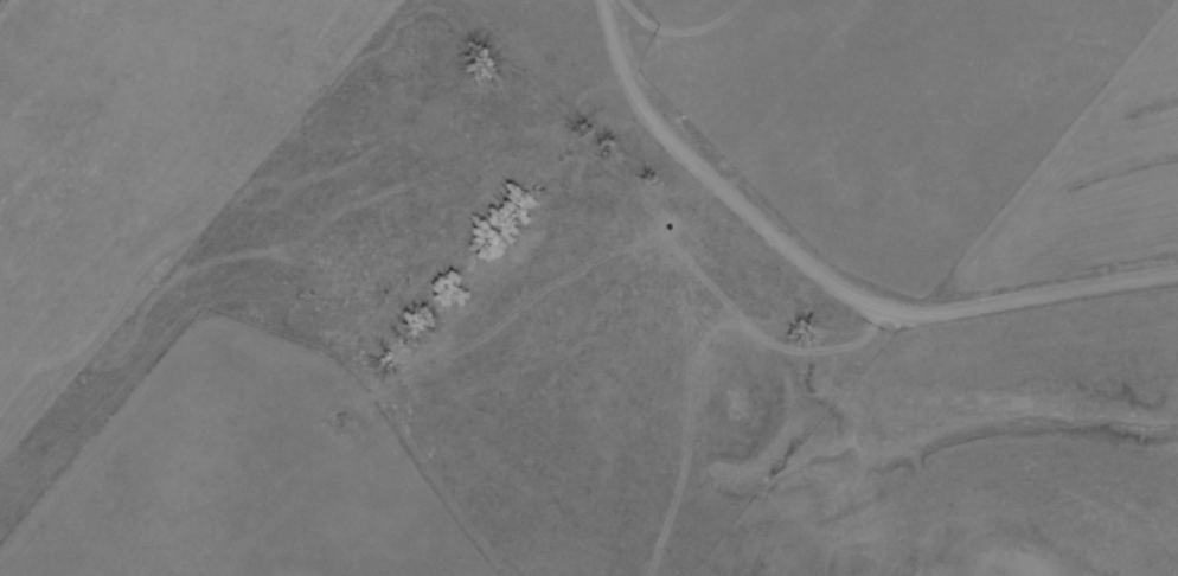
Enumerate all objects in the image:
road: (820, 283)
road: (1116, 431)

